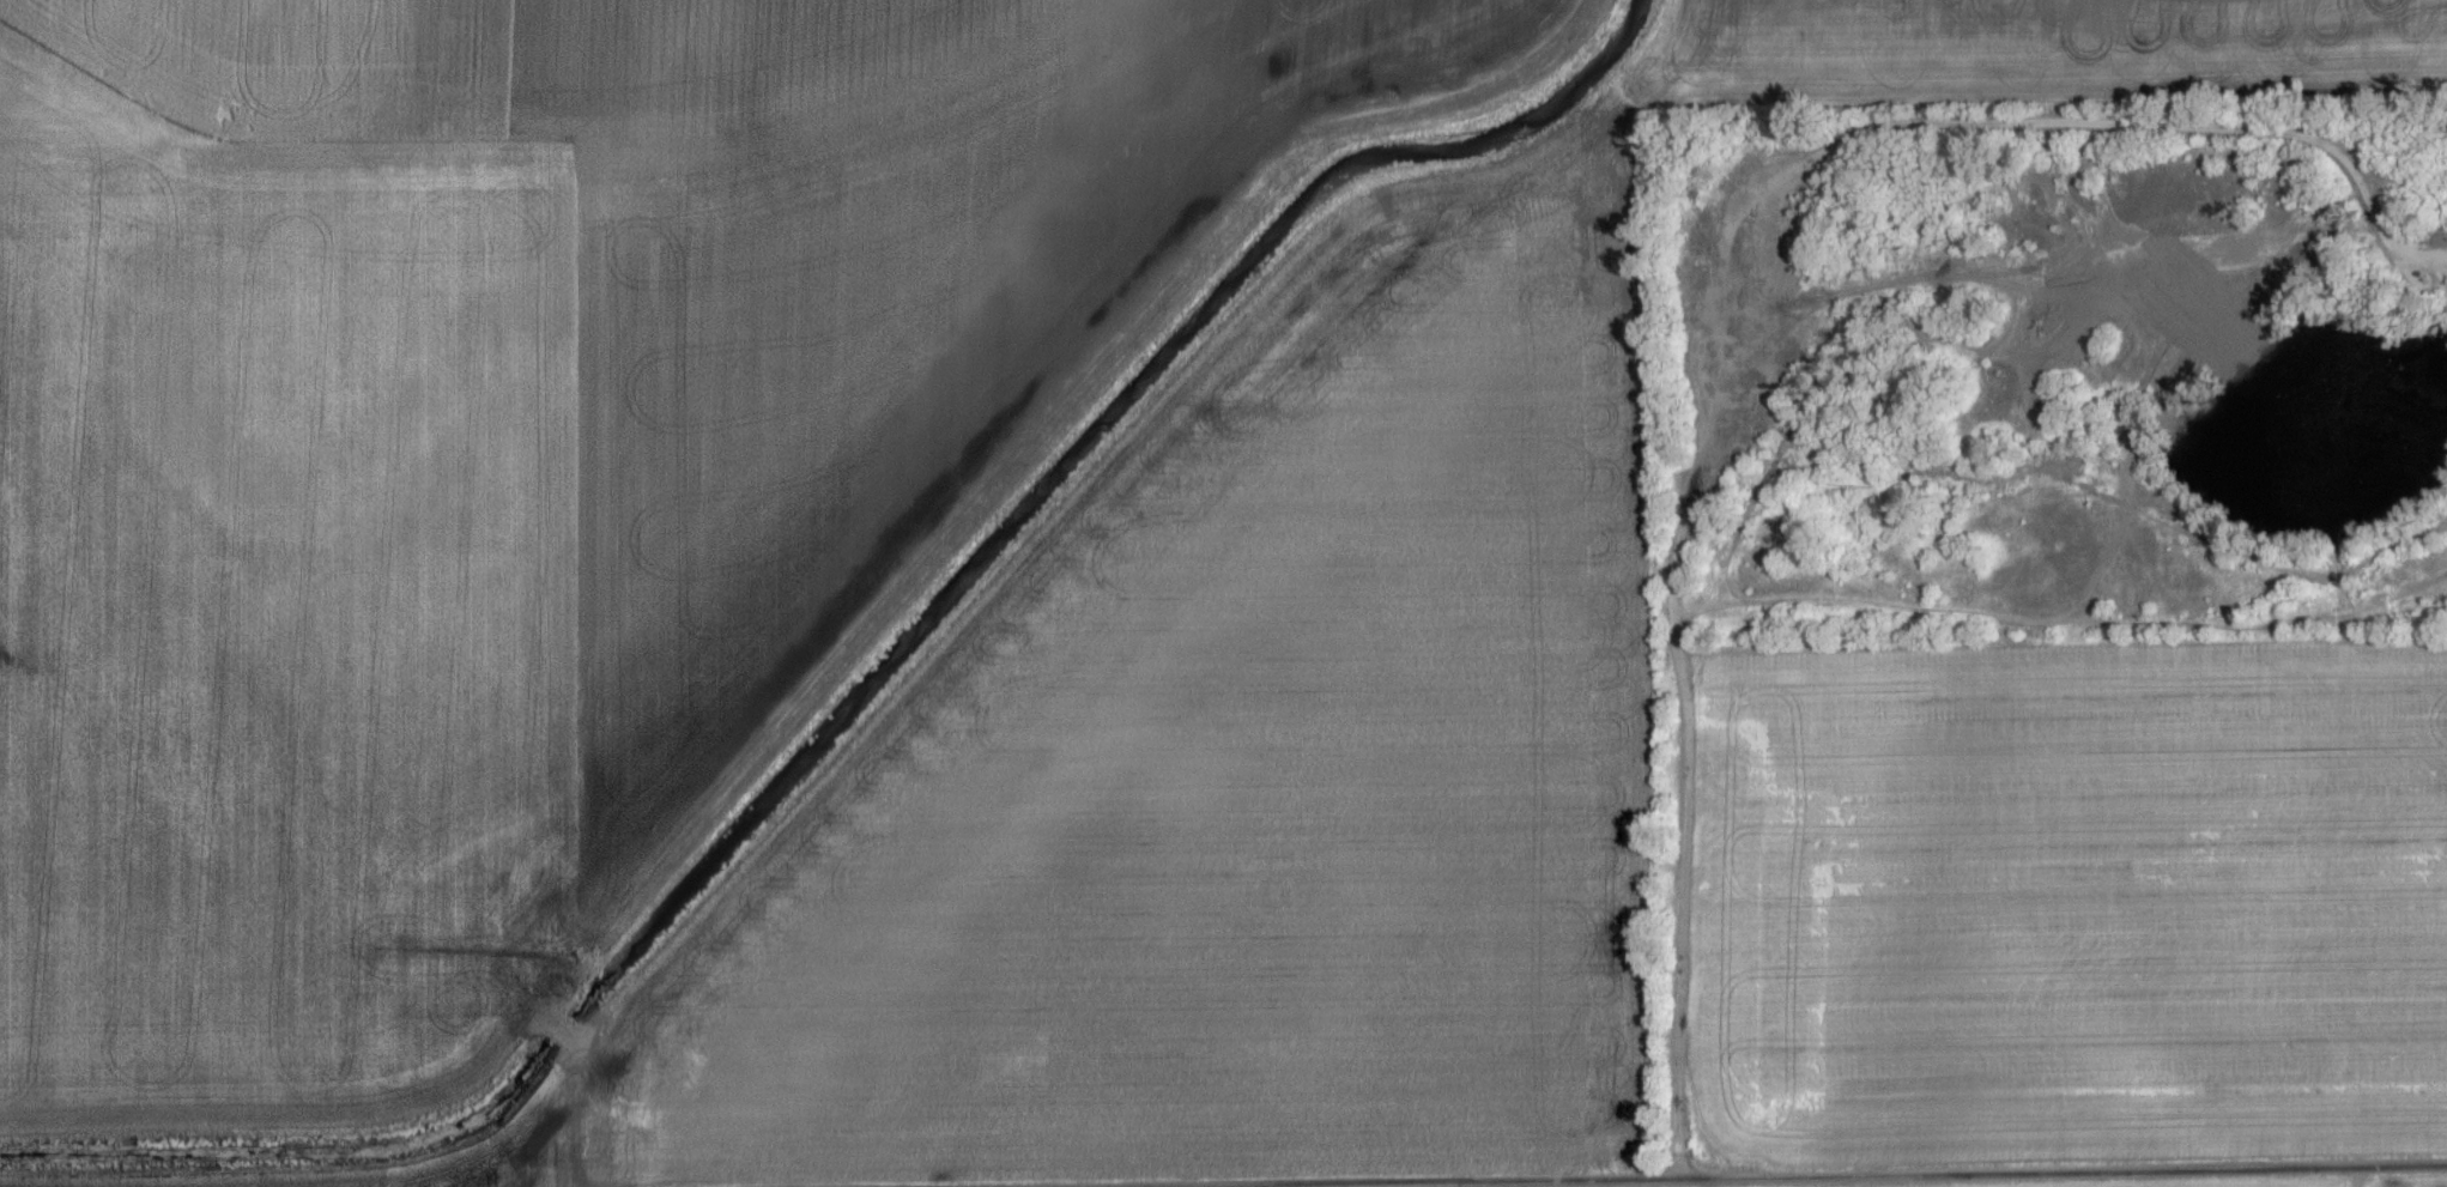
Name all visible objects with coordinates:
road: (2055, 1180)

